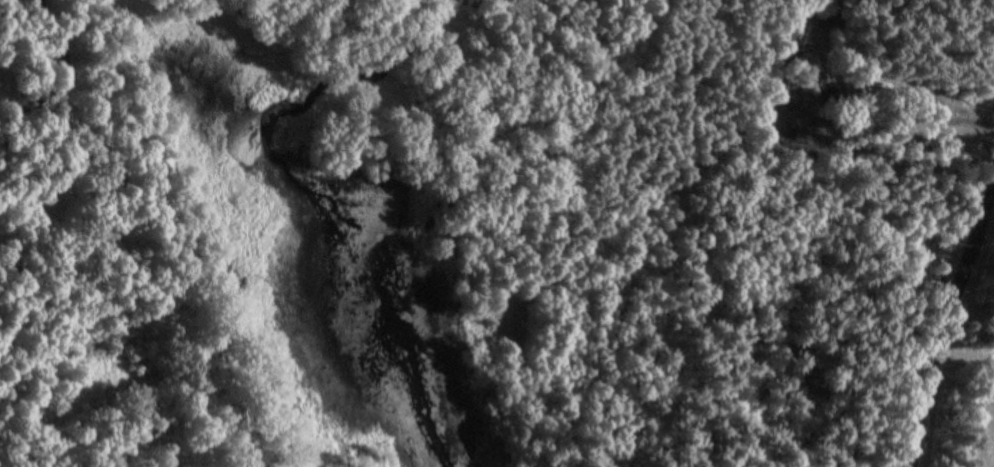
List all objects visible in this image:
road: (950, 299)

